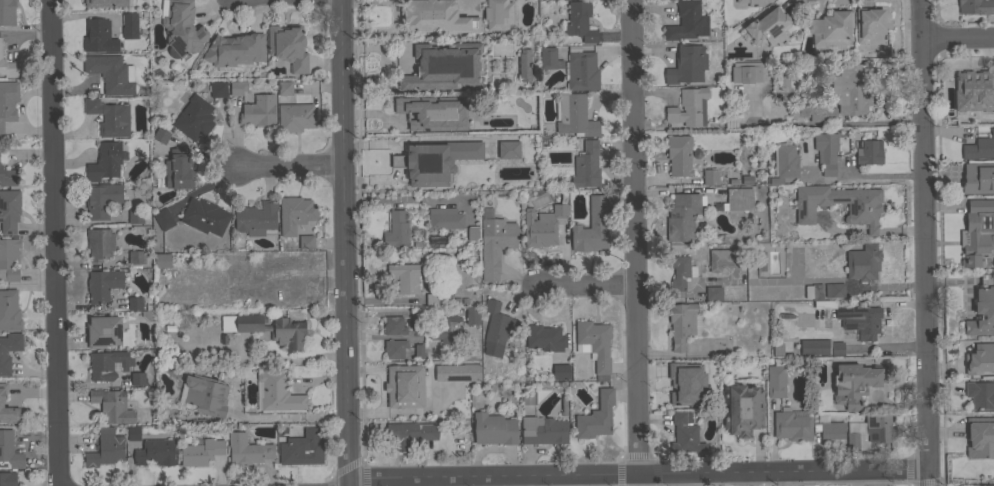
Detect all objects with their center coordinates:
building: (751, 2)
building: (105, 3)
building: (976, 6)
building: (7, 12)
building: (498, 14)
building: (437, 17)
building: (579, 21)
building: (687, 21)
building: (129, 25)
building: (870, 25)
building: (182, 27)
building: (769, 28)
building: (831, 28)
building: (99, 36)
road: (959, 40)
building: (288, 46)
building: (235, 49)
building: (549, 58)
building: (686, 62)
building: (519, 65)
building: (7, 67)
building: (582, 71)
building: (751, 72)
building: (111, 73)
building: (783, 80)
building: (974, 85)
building: (237, 87)
building: (285, 87)
building: (218, 88)
building: (850, 89)
building: (8, 101)
building: (429, 102)
building: (689, 107)
building: (258, 111)
building: (815, 113)
building: (968, 114)
building: (574, 115)
building: (109, 117)
building: (295, 117)
building: (194, 118)
building: (395, 118)
road: (823, 123)
building: (161, 135)
building: (979, 148)
building: (506, 149)
building: (826, 152)
building: (869, 152)
building: (679, 155)
building: (105, 161)
building: (435, 161)
building: (391, 162)
building: (784, 163)
building: (586, 166)
road: (291, 168)
building: (178, 169)
building: (8, 176)
building: (710, 177)
building: (978, 178)
building: (745, 180)
building: (101, 199)
building: (739, 200)
building: (9, 210)
building: (864, 210)
building: (295, 213)
building: (483, 213)
building: (135, 216)
building: (204, 216)
building: (682, 217)
building: (163, 218)
building: (256, 218)
building: (445, 218)
building: (544, 224)
building: (592, 227)
building: (396, 230)
building: (473, 232)
building: (978, 234)
road: (634, 236)
building: (437, 240)
building: (304, 242)
road: (344, 242)
road: (926, 242)
road: (52, 243)
building: (100, 243)
building: (495, 245)
building: (9, 257)
building: (136, 257)
building: (724, 259)
building: (758, 259)
building: (162, 261)
building: (863, 263)
building: (754, 268)
building: (680, 271)
building: (405, 277)
building: (102, 285)
road: (585, 286)
building: (834, 290)
building: (812, 292)
building: (713, 293)
building: (431, 299)
building: (135, 302)
building: (824, 304)
building: (9, 309)
building: (982, 309)
building: (472, 314)
building: (802, 320)
building: (860, 320)
building: (420, 322)
building: (496, 323)
building: (683, 324)
building: (394, 325)
building: (447, 327)
building: (268, 328)
building: (102, 332)
building: (544, 338)
building: (595, 344)
building: (778, 346)
building: (821, 347)
building: (395, 348)
building: (418, 350)
building: (3, 353)
building: (174, 356)
building: (979, 358)
building: (108, 364)
building: (560, 371)
building: (457, 372)
building: (137, 378)
building: (776, 378)
building: (856, 383)
building: (404, 386)
building: (681, 386)
building: (279, 392)
building: (980, 394)
building: (205, 395)
building: (528, 397)
building: (112, 405)
building: (10, 407)
building: (742, 409)
building: (596, 415)
road: (287, 420)
building: (792, 424)
building: (829, 428)
building: (879, 428)
building: (494, 429)
building: (543, 429)
building: (133, 433)
building: (410, 433)
building: (684, 434)
building: (980, 437)
building: (852, 440)
building: (289, 446)
building: (105, 448)
building: (247, 449)
building: (9, 451)
building: (155, 452)
building: (201, 452)
road: (637, 473)
building: (8, 478)
road: (638, 478)
road: (743, 478)
road: (512, 480)
road: (345, 485)
road: (636, 485)
road: (639, 485)
building: (979, 485)

